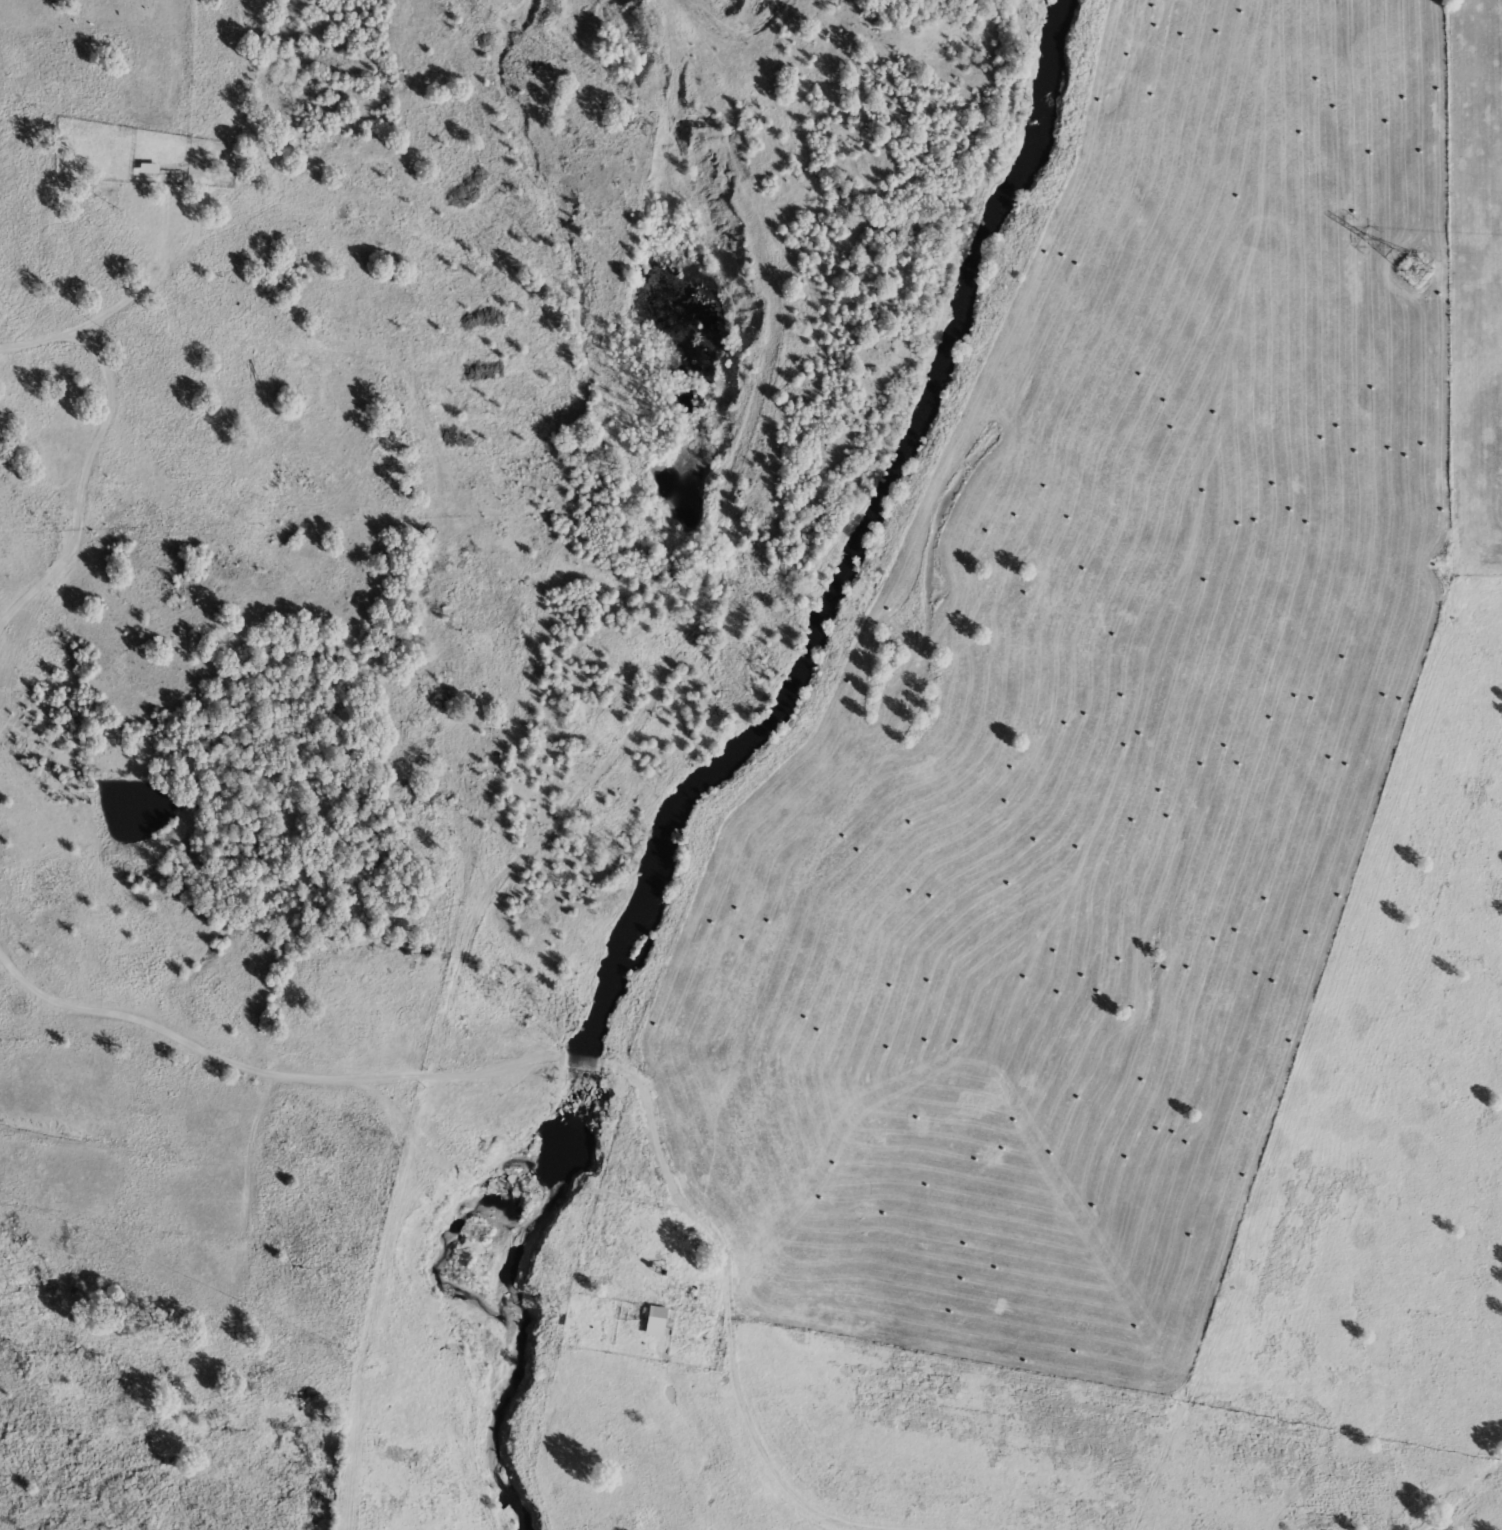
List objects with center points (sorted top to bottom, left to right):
road: (714, 19)
building: (94, 245)
power tower: (1410, 268)
road: (49, 345)

